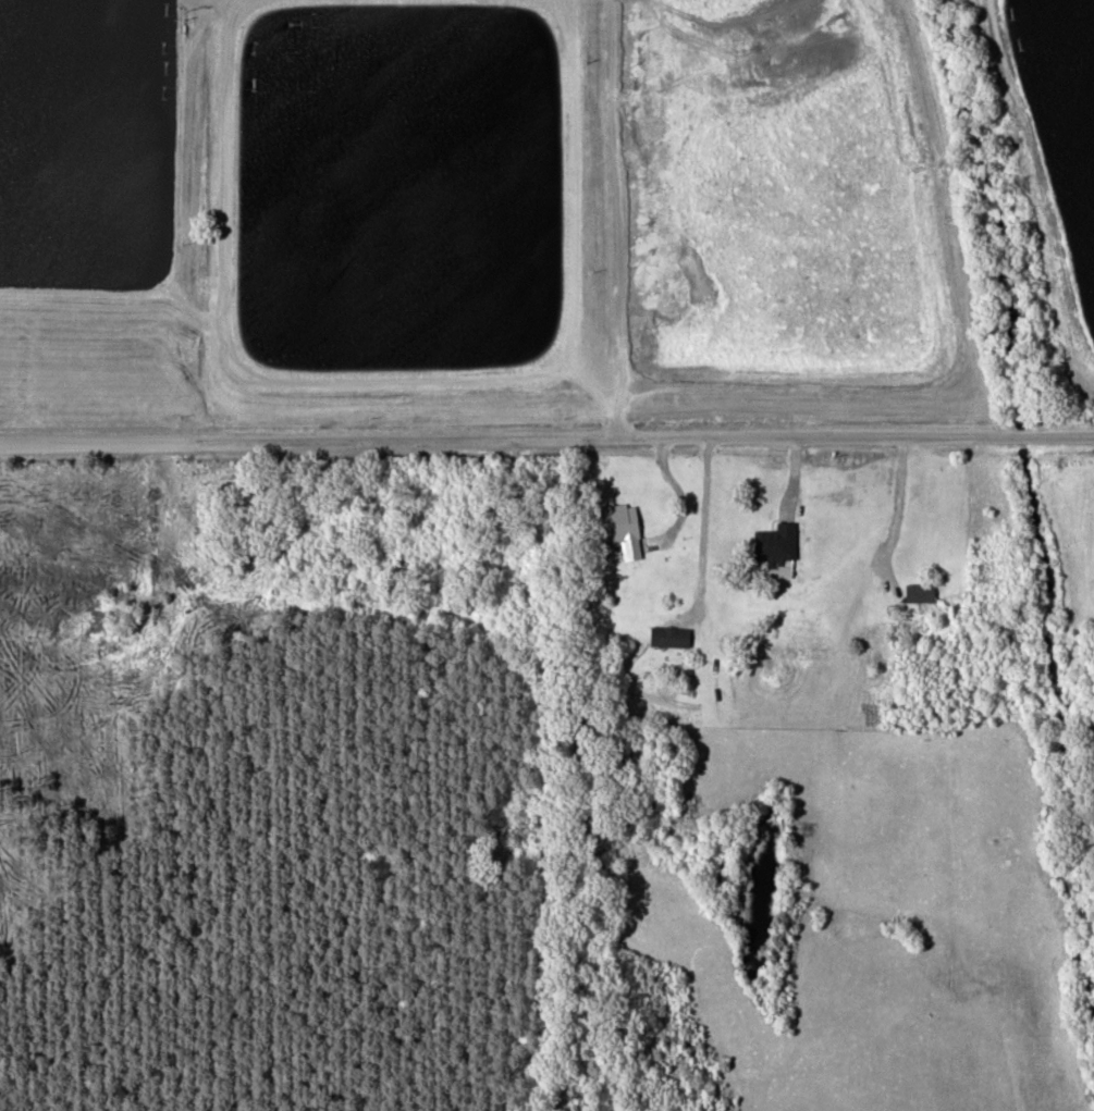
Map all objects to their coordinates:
road: (546, 432)
building: (1091, 523)
building: (629, 528)
building: (777, 542)
building: (921, 592)
building: (671, 635)

